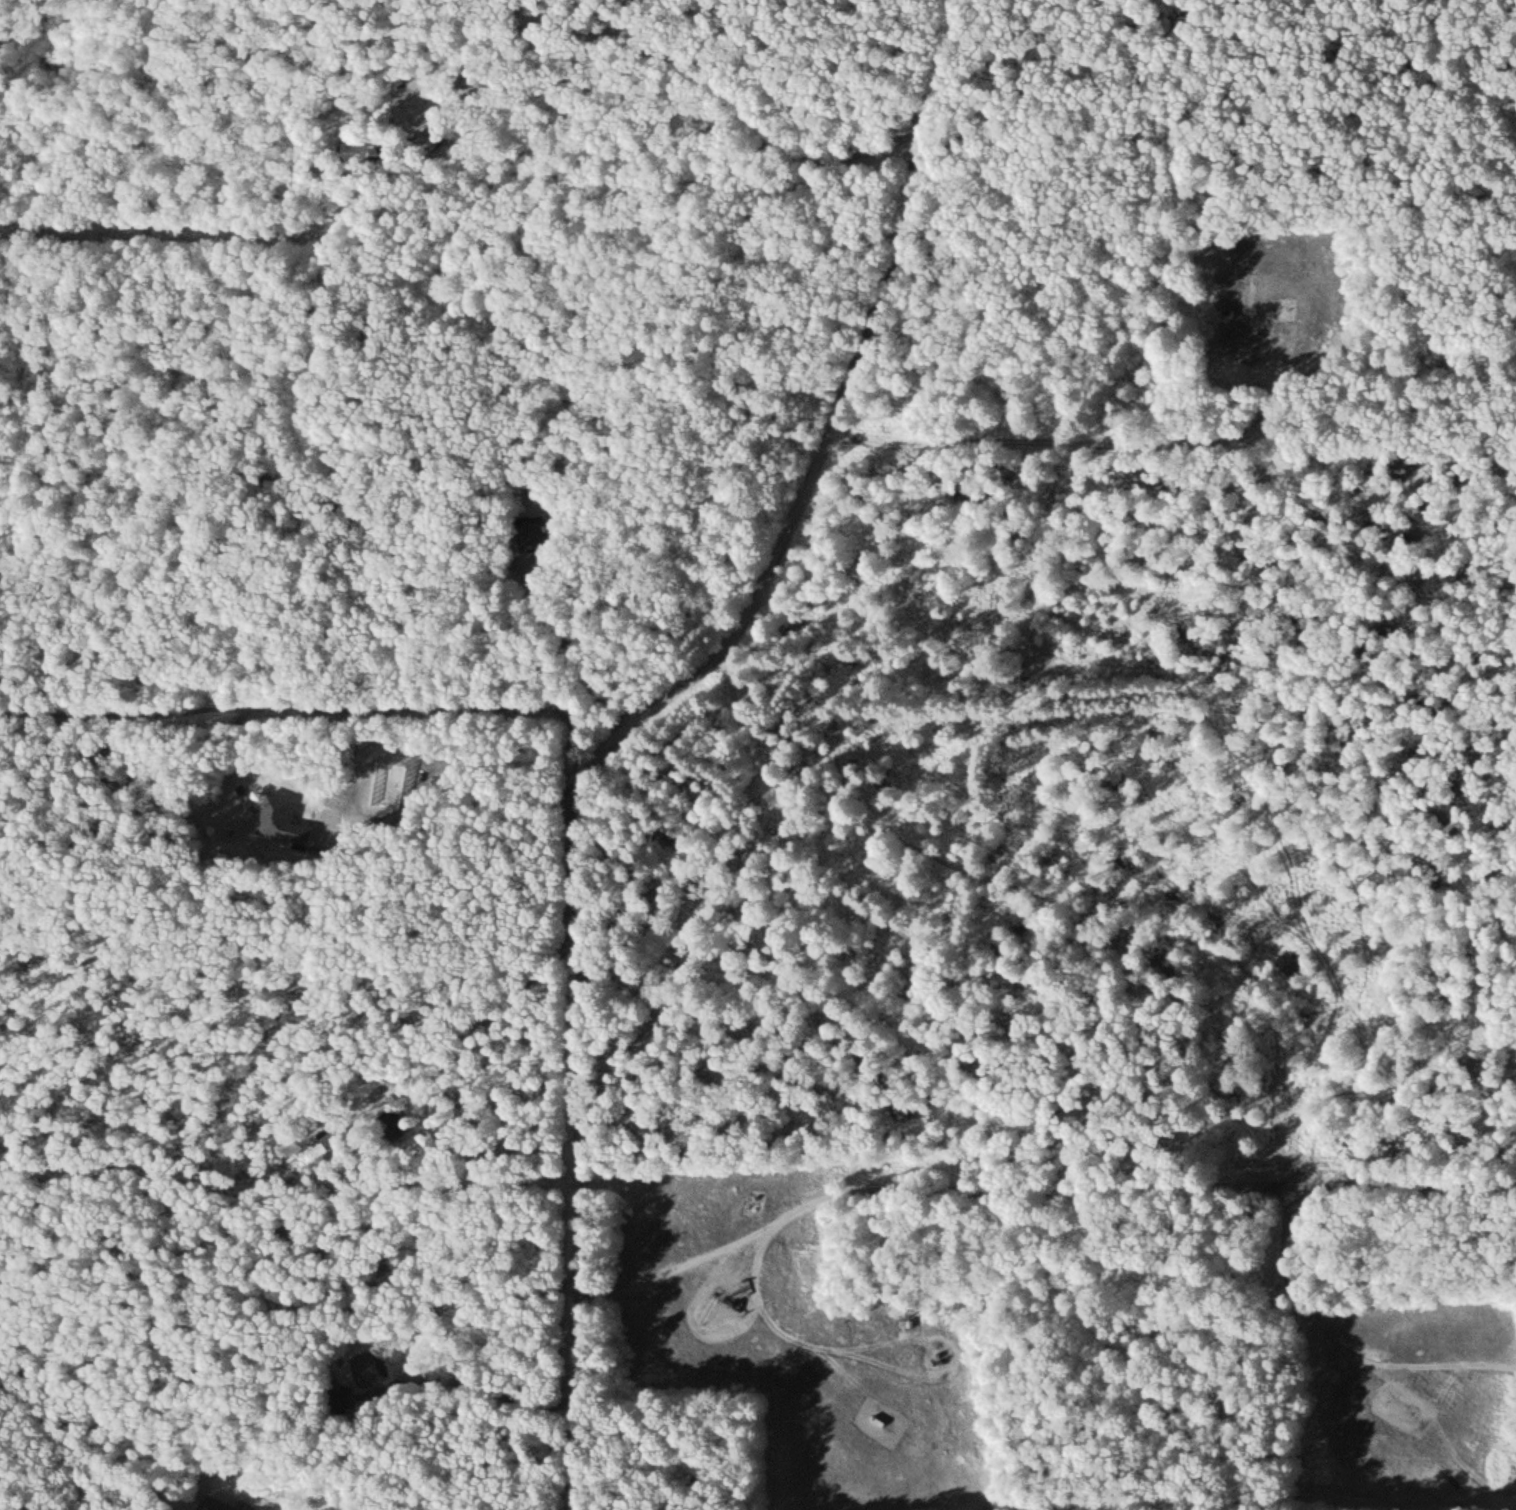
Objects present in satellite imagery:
road: (669, 49)
building: (370, 149)
road: (1035, 167)
road: (880, 320)
road: (658, 559)
road: (540, 753)
building: (287, 819)
road: (503, 894)
road: (1194, 955)
road: (572, 1033)
road: (487, 1179)
road: (1020, 1183)
petroleum well: (730, 1303)
building: (383, 1369)
petroleum well: (1396, 1406)
road: (64, 1426)
building: (222, 1505)

